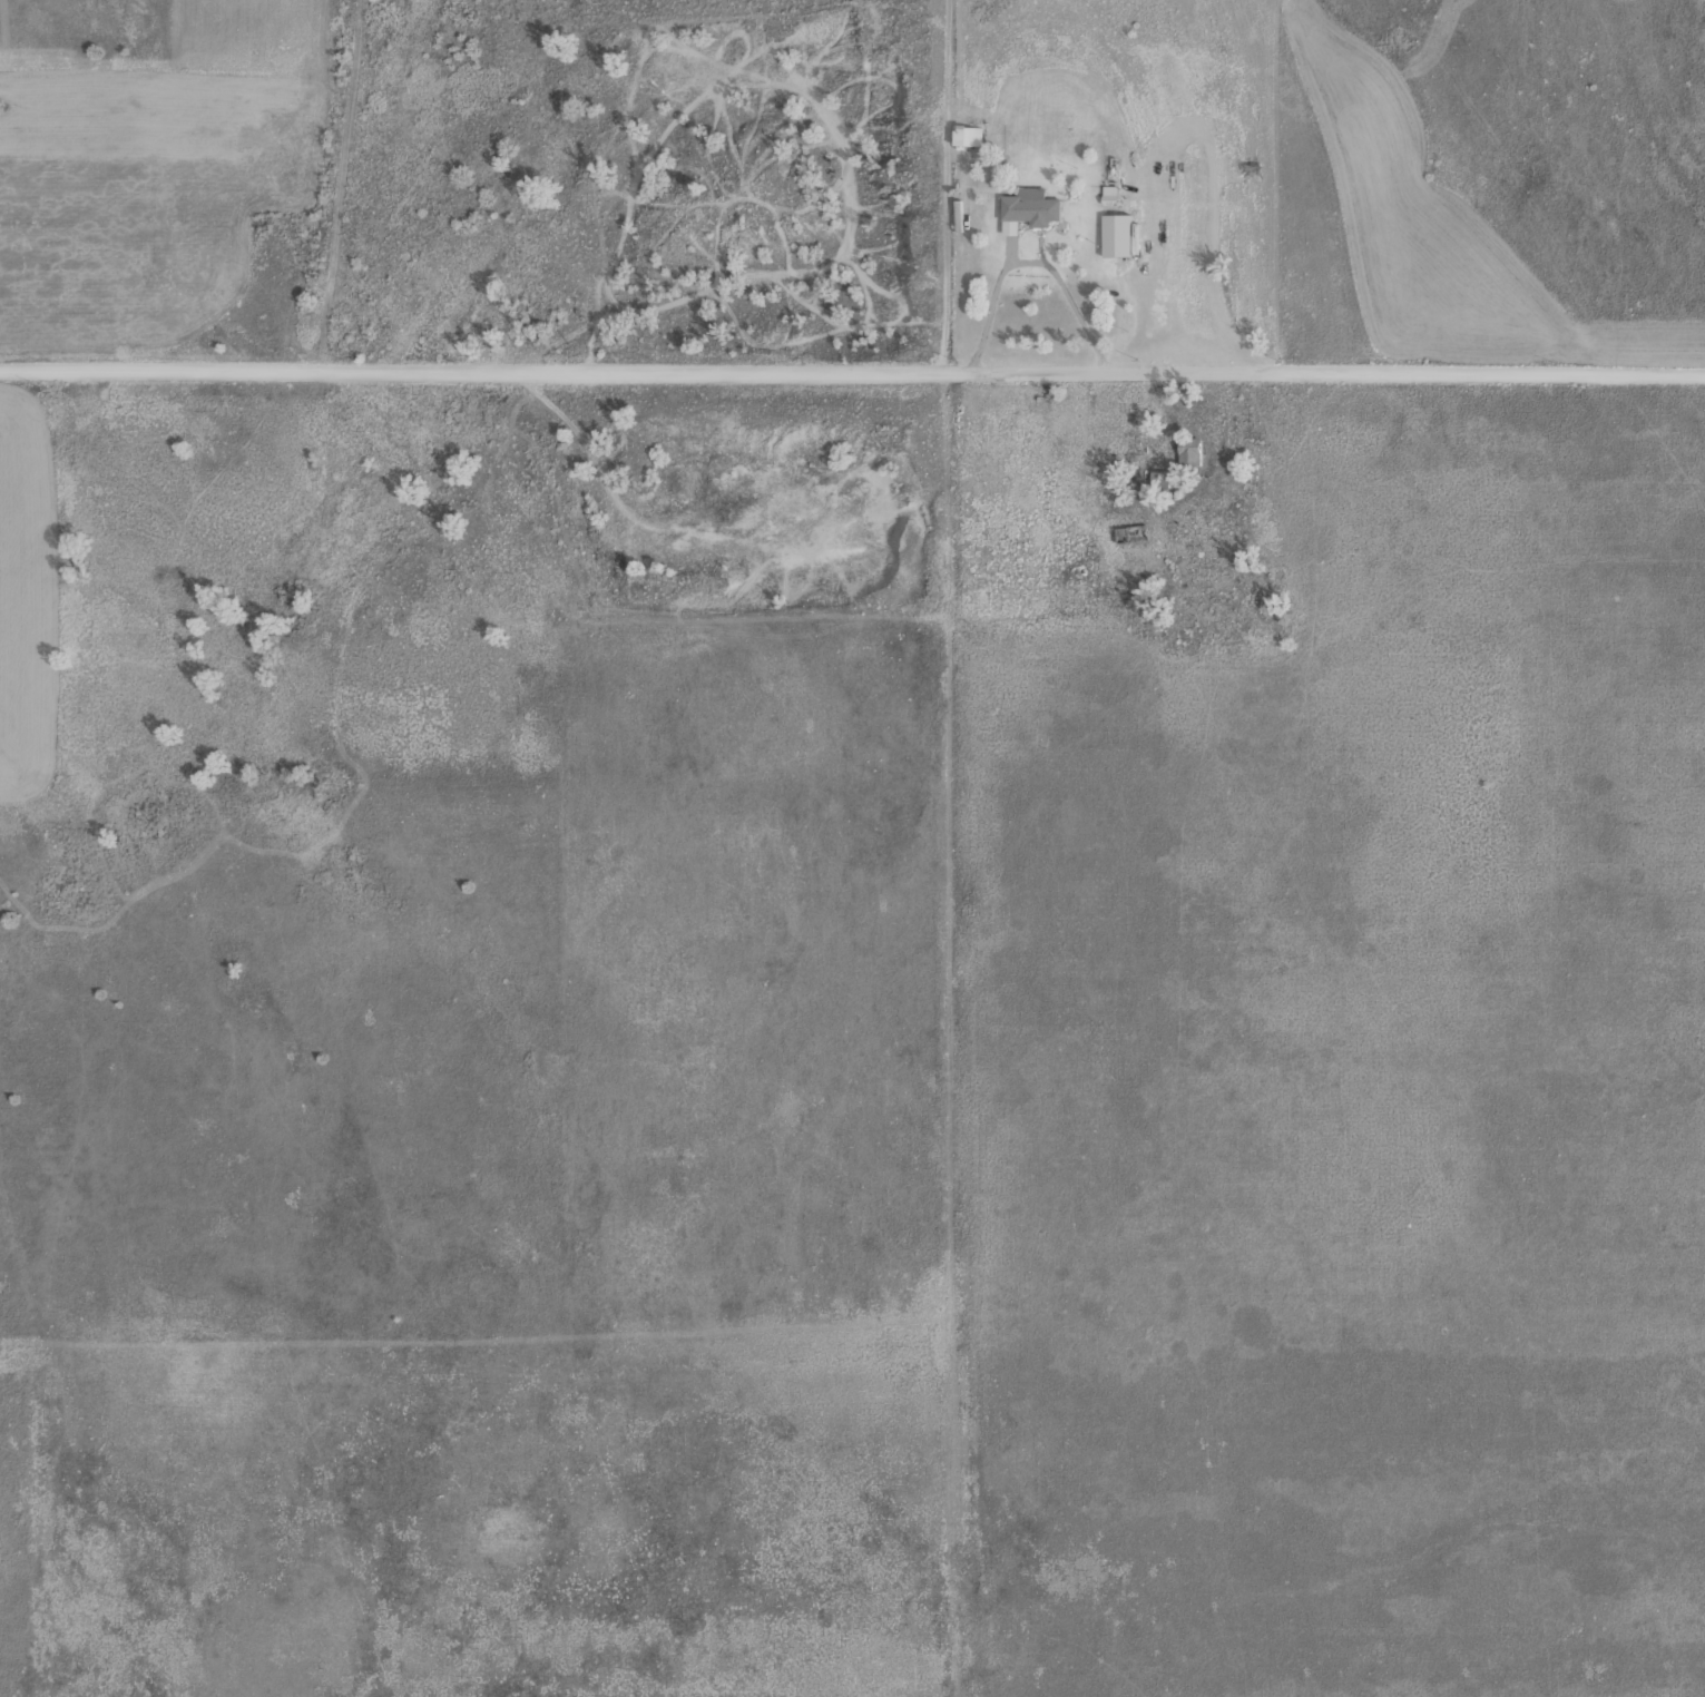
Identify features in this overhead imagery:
building: (963, 135)
building: (1025, 208)
road: (852, 373)
building: (1186, 452)
building: (1156, 481)
building: (1128, 533)

